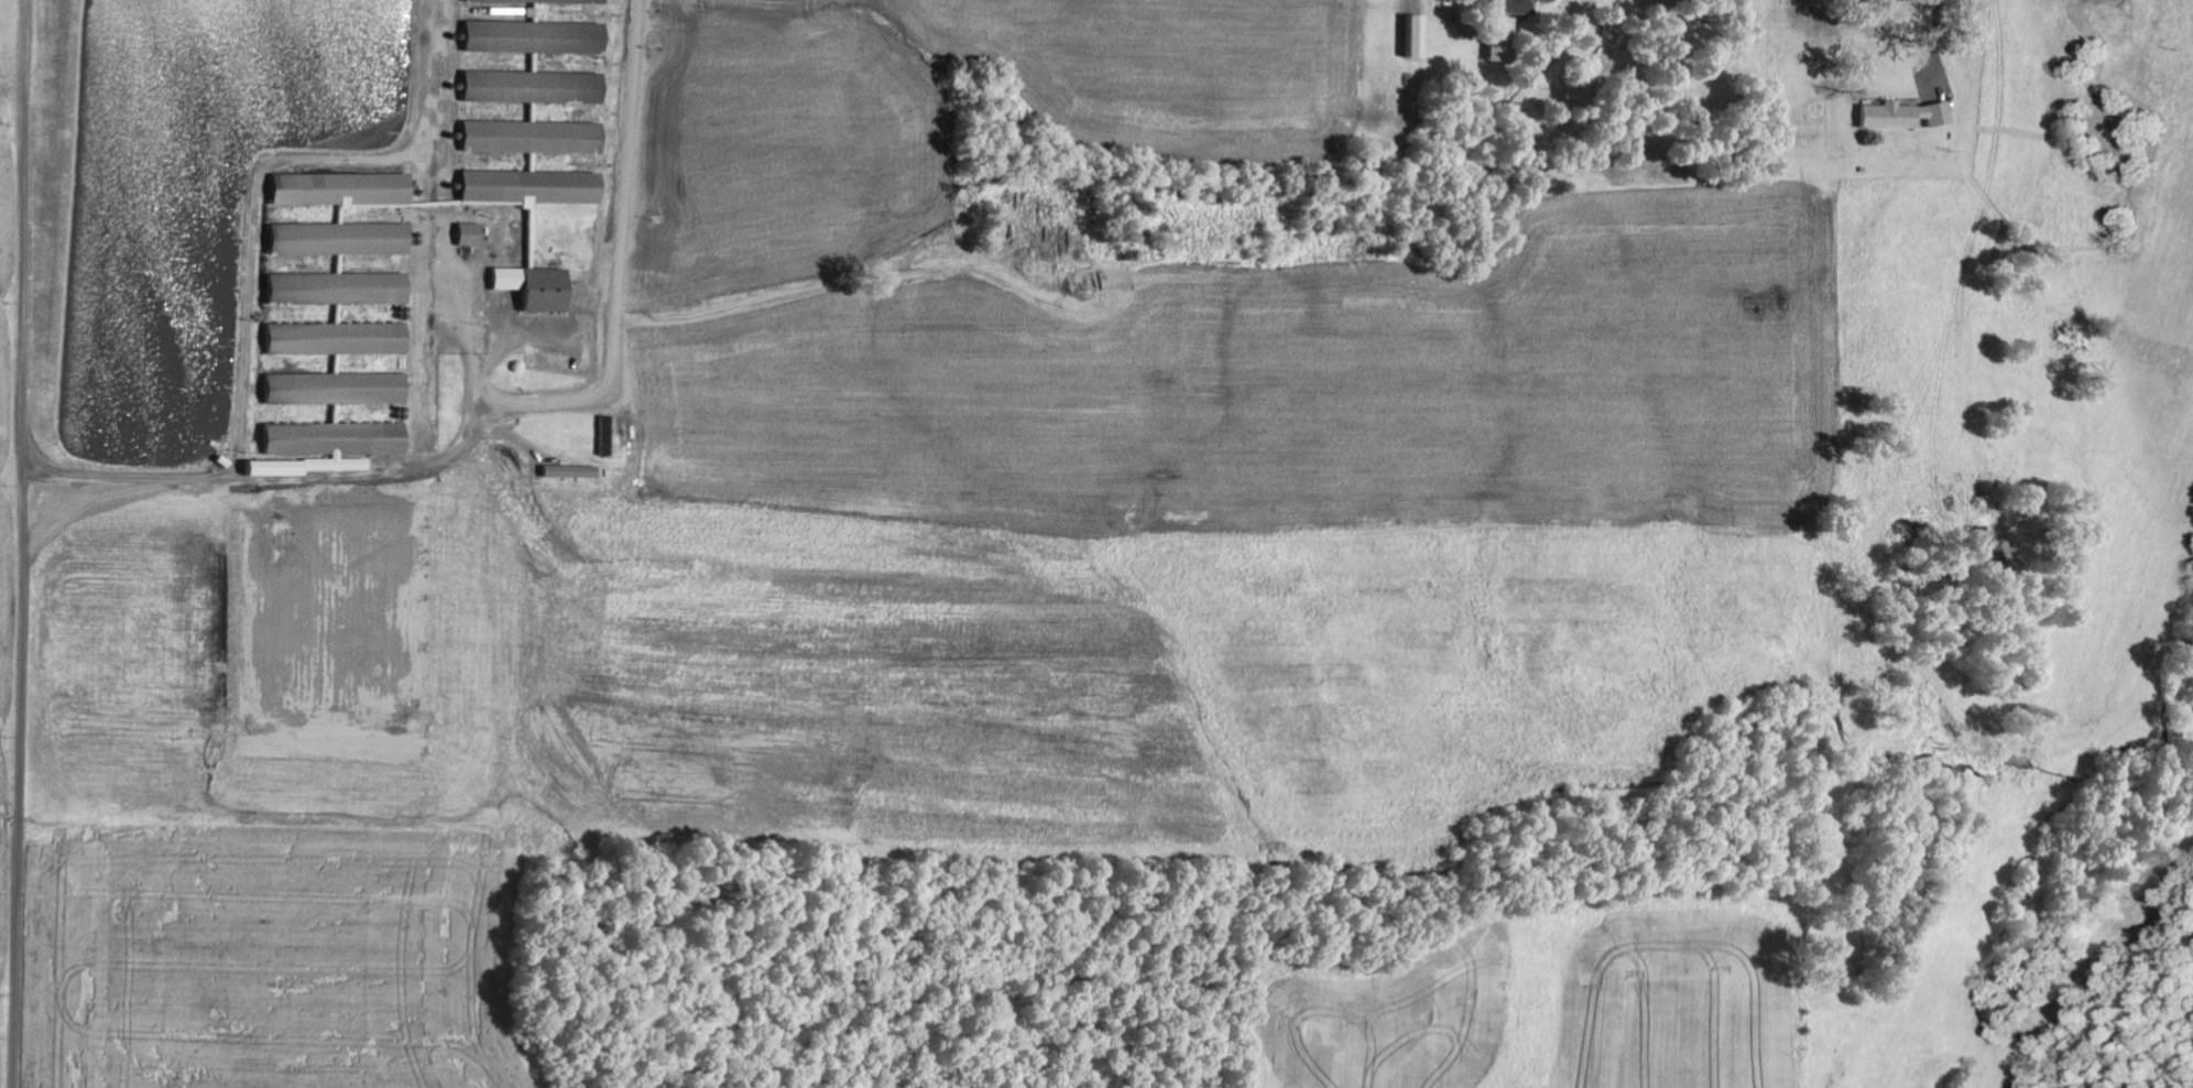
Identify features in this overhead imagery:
building: (488, 0)
building: (532, 0)
building: (598, 1)
building: (1513, 7)
building: (1414, 36)
building: (1498, 39)
building: (533, 87)
building: (1903, 115)
building: (532, 137)
building: (530, 187)
building: (342, 189)
building: (470, 233)
building: (339, 238)
building: (535, 286)
building: (338, 287)
building: (337, 338)
building: (334, 438)
building: (570, 471)
road: (25, 544)

